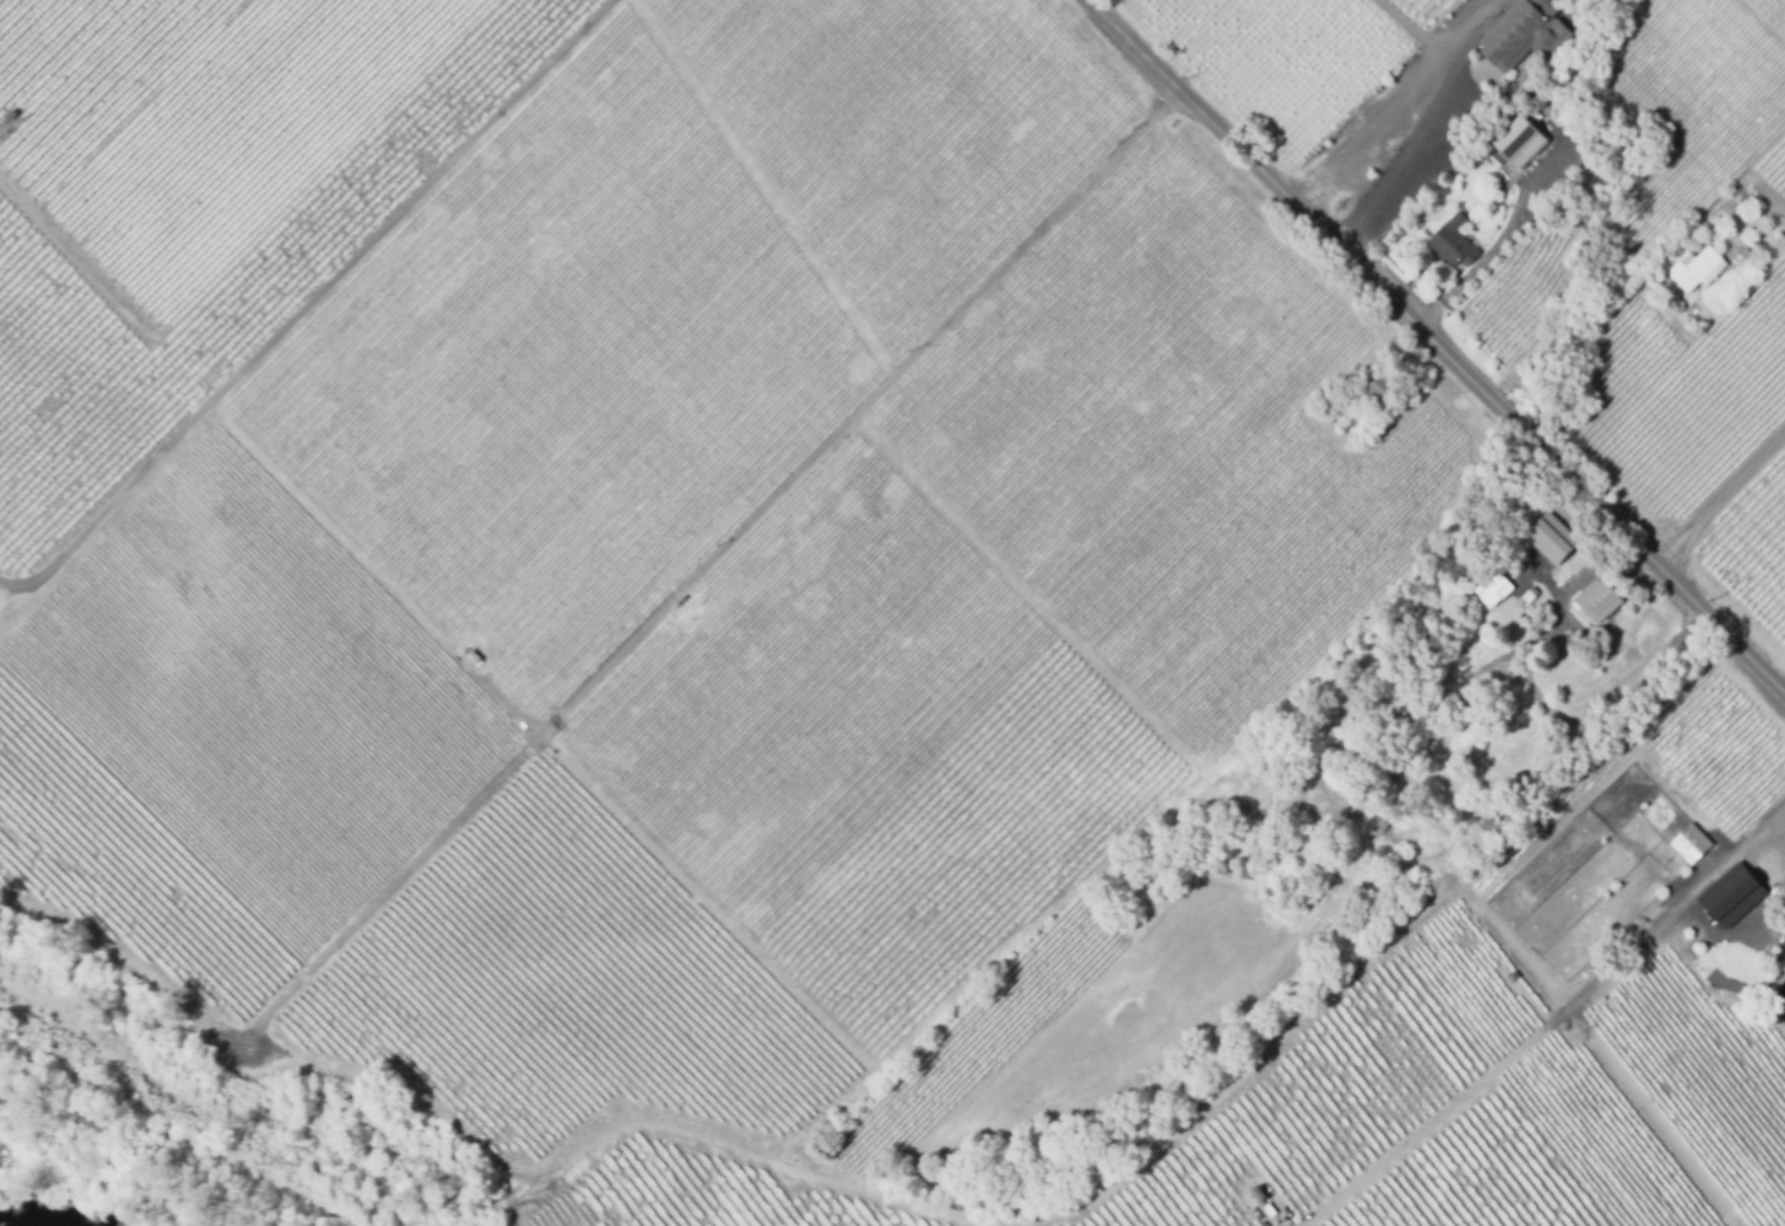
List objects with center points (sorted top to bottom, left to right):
road: (1416, 30)
building: (1525, 34)
road: (1404, 101)
building: (1536, 101)
building: (8, 114)
building: (1518, 139)
building: (1547, 188)
road: (768, 189)
road: (1777, 208)
building: (1725, 230)
building: (1454, 242)
building: (1629, 250)
building: (1749, 256)
building: (1697, 268)
road: (1478, 269)
road: (1438, 345)
building: (1372, 389)
building: (1356, 429)
road: (1721, 499)
building: (1536, 532)
building: (1492, 587)
building: (1537, 601)
building: (1594, 607)
building: (1469, 643)
building: (472, 656)
road: (1646, 663)
road: (483, 686)
building: (1488, 690)
road: (1774, 833)
building: (1688, 844)
building: (1720, 901)
building: (1783, 942)
building: (1510, 976)
road: (1552, 1023)
building: (1257, 1194)
building: (1268, 1208)

